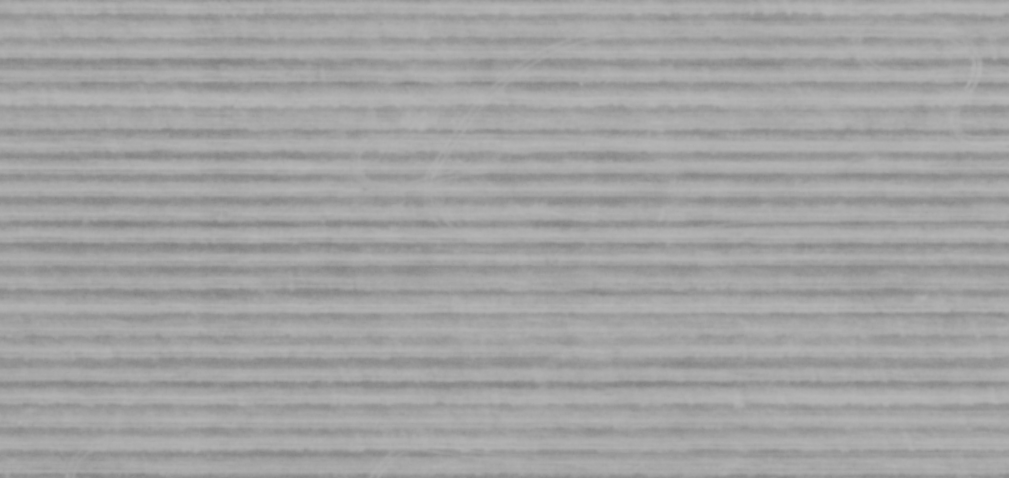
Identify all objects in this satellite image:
crop: (504, 239)

